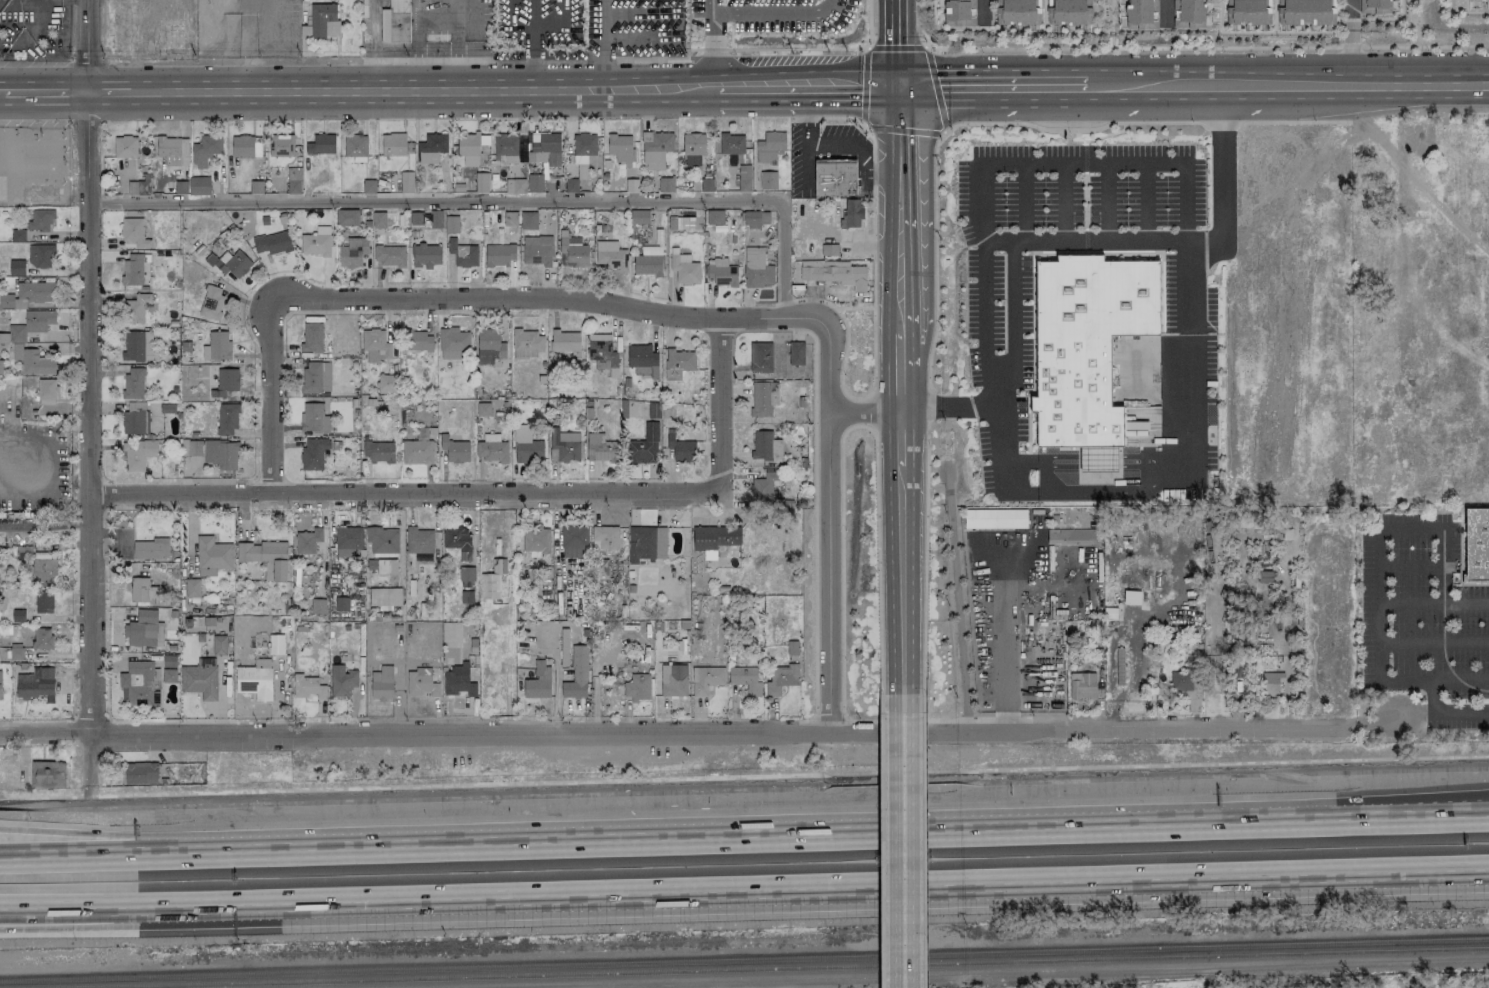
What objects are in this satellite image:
road: (42, 0)
building: (217, 0)
building: (1473, 0)
building: (1479, 0)
building: (1374, 6)
building: (1067, 11)
road: (1166, 11)
building: (1247, 11)
road: (775, 12)
building: (1306, 12)
building: (959, 13)
building: (1188, 13)
road: (1349, 13)
building: (1141, 14)
road: (1408, 17)
road: (438, 18)
building: (639, 19)
building: (324, 20)
building: (395, 22)
road: (868, 24)
road: (921, 25)
road: (531, 29)
road: (1410, 38)
road: (1411, 42)
road: (85, 44)
road: (372, 44)
road: (601, 45)
road: (716, 45)
road: (777, 48)
road: (1209, 48)
road: (1350, 56)
road: (342, 61)
road: (598, 61)
road: (653, 61)
road: (1352, 84)
road: (1151, 88)
road: (42, 89)
road: (402, 90)
road: (994, 90)
road: (812, 91)
traffic signals: (904, 92)
road: (827, 117)
road: (1146, 123)
road: (876, 128)
building: (321, 144)
building: (393, 144)
building: (693, 144)
building: (731, 144)
building: (282, 145)
building: (242, 146)
building: (355, 146)
building: (125, 147)
building: (506, 147)
building: (431, 148)
building: (544, 148)
building: (621, 148)
building: (770, 148)
building: (469, 149)
building: (656, 149)
building: (205, 150)
building: (173, 151)
road: (1085, 163)
building: (744, 178)
building: (834, 178)
building: (174, 179)
building: (294, 180)
building: (768, 180)
building: (406, 182)
building: (481, 182)
building: (535, 183)
building: (515, 185)
building: (666, 185)
building: (199, 186)
building: (138, 188)
road: (490, 201)
building: (851, 214)
building: (510, 216)
building: (639, 216)
building: (346, 217)
building: (715, 217)
building: (416, 218)
building: (379, 219)
building: (435, 219)
building: (755, 219)
building: (40, 220)
building: (528, 220)
building: (451, 224)
building: (134, 232)
building: (17, 236)
building: (316, 242)
building: (272, 243)
road: (1011, 243)
building: (829, 249)
building: (537, 250)
building: (572, 251)
building: (352, 252)
building: (462, 254)
building: (389, 255)
building: (425, 255)
building: (499, 255)
building: (609, 255)
building: (41, 256)
road: (873, 260)
building: (648, 261)
road: (934, 261)
building: (229, 264)
building: (16, 268)
building: (683, 268)
building: (133, 269)
building: (721, 272)
building: (836, 274)
building: (759, 275)
road: (1188, 280)
building: (37, 291)
building: (11, 302)
building: (211, 302)
road: (449, 306)
building: (135, 308)
road: (854, 308)
road: (1017, 322)
building: (28, 326)
building: (312, 338)
building: (417, 341)
building: (565, 341)
building: (452, 343)
building: (527, 344)
building: (375, 345)
building: (137, 346)
building: (216, 346)
building: (489, 346)
building: (1088, 349)
building: (796, 353)
road: (842, 355)
road: (907, 355)
building: (602, 356)
building: (760, 357)
building: (32, 361)
building: (642, 361)
building: (678, 364)
building: (316, 377)
building: (226, 382)
building: (133, 383)
building: (387, 383)
building: (46, 391)
building: (763, 398)
road: (998, 407)
road: (929, 409)
building: (653, 410)
road: (722, 410)
road: (866, 410)
road: (88, 412)
road: (871, 412)
building: (134, 418)
building: (313, 418)
building: (226, 419)
building: (526, 446)
building: (563, 446)
building: (643, 446)
building: (765, 446)
building: (195, 447)
building: (600, 448)
building: (491, 449)
building: (681, 449)
building: (455, 450)
building: (378, 451)
building: (417, 452)
building: (313, 453)
building: (138, 454)
building: (221, 454)
building: (764, 486)
road: (1088, 492)
road: (408, 498)
building: (995, 519)
road: (824, 525)
road: (841, 527)
road: (1409, 528)
building: (11, 533)
building: (1070, 536)
building: (714, 537)
building: (604, 538)
building: (419, 540)
building: (457, 540)
building: (535, 540)
building: (307, 541)
building: (347, 541)
building: (574, 542)
building: (646, 543)
building: (1476, 544)
building: (151, 549)
building: (382, 549)
building: (728, 551)
building: (212, 553)
road: (925, 554)
building: (41, 555)
building: (265, 558)
road: (1410, 564)
building: (498, 566)
building: (43, 570)
building: (490, 586)
building: (192, 588)
building: (143, 591)
building: (384, 598)
road: (956, 600)
building: (43, 602)
building: (341, 604)
building: (318, 606)
parking lot: (1419, 610)
building: (18, 616)
building: (144, 630)
building: (451, 634)
building: (42, 638)
road: (1434, 639)
building: (275, 644)
building: (219, 645)
road: (1003, 646)
road: (1379, 655)
building: (576, 674)
building: (200, 678)
building: (779, 678)
building: (255, 679)
building: (705, 679)
building: (745, 679)
building: (673, 680)
road: (1460, 680)
building: (342, 681)
building: (538, 682)
building: (1271, 682)
building: (143, 683)
building: (381, 683)
building: (420, 683)
building: (36, 684)
building: (1185, 685)
building: (1082, 686)
building: (308, 687)
building: (637, 687)
building: (0, 688)
parking lot: (1457, 715)
road: (1148, 729)
road: (482, 731)
building: (140, 773)
road: (880, 833)
road: (874, 835)
road: (923, 835)
road: (130, 836)
road: (907, 850)
road: (130, 856)
road: (1479, 875)
road: (1479, 876)
road: (866, 891)
road: (131, 908)
road: (132, 927)
railway: (744, 959)
railway: (769, 968)
road: (1024, 975)

